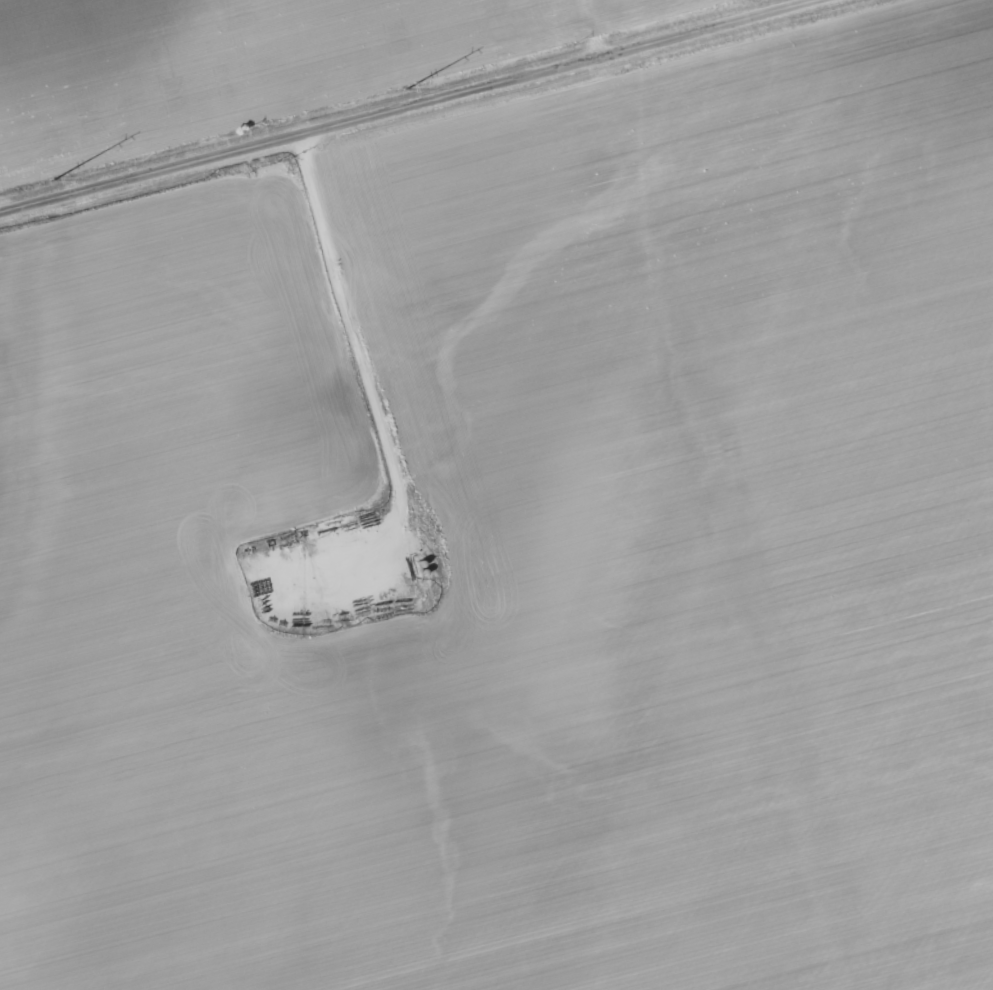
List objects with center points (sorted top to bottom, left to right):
road: (591, 27)
power tower: (400, 90)
road: (407, 106)
power tower: (46, 182)

